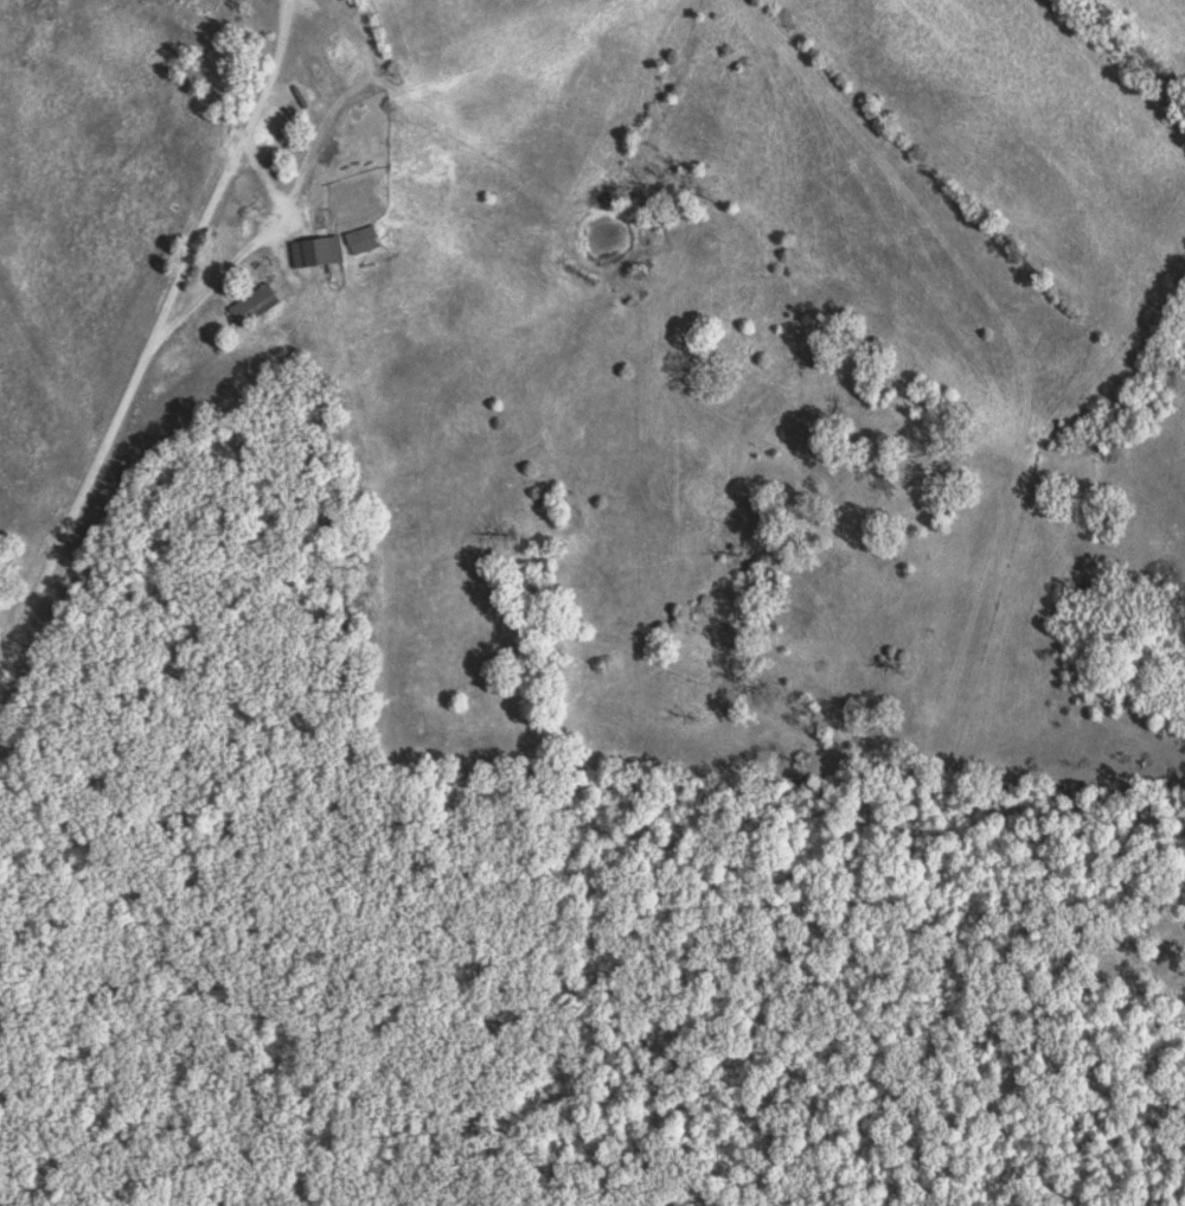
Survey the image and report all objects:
building: (322, 248)
building: (258, 301)
road: (150, 345)

